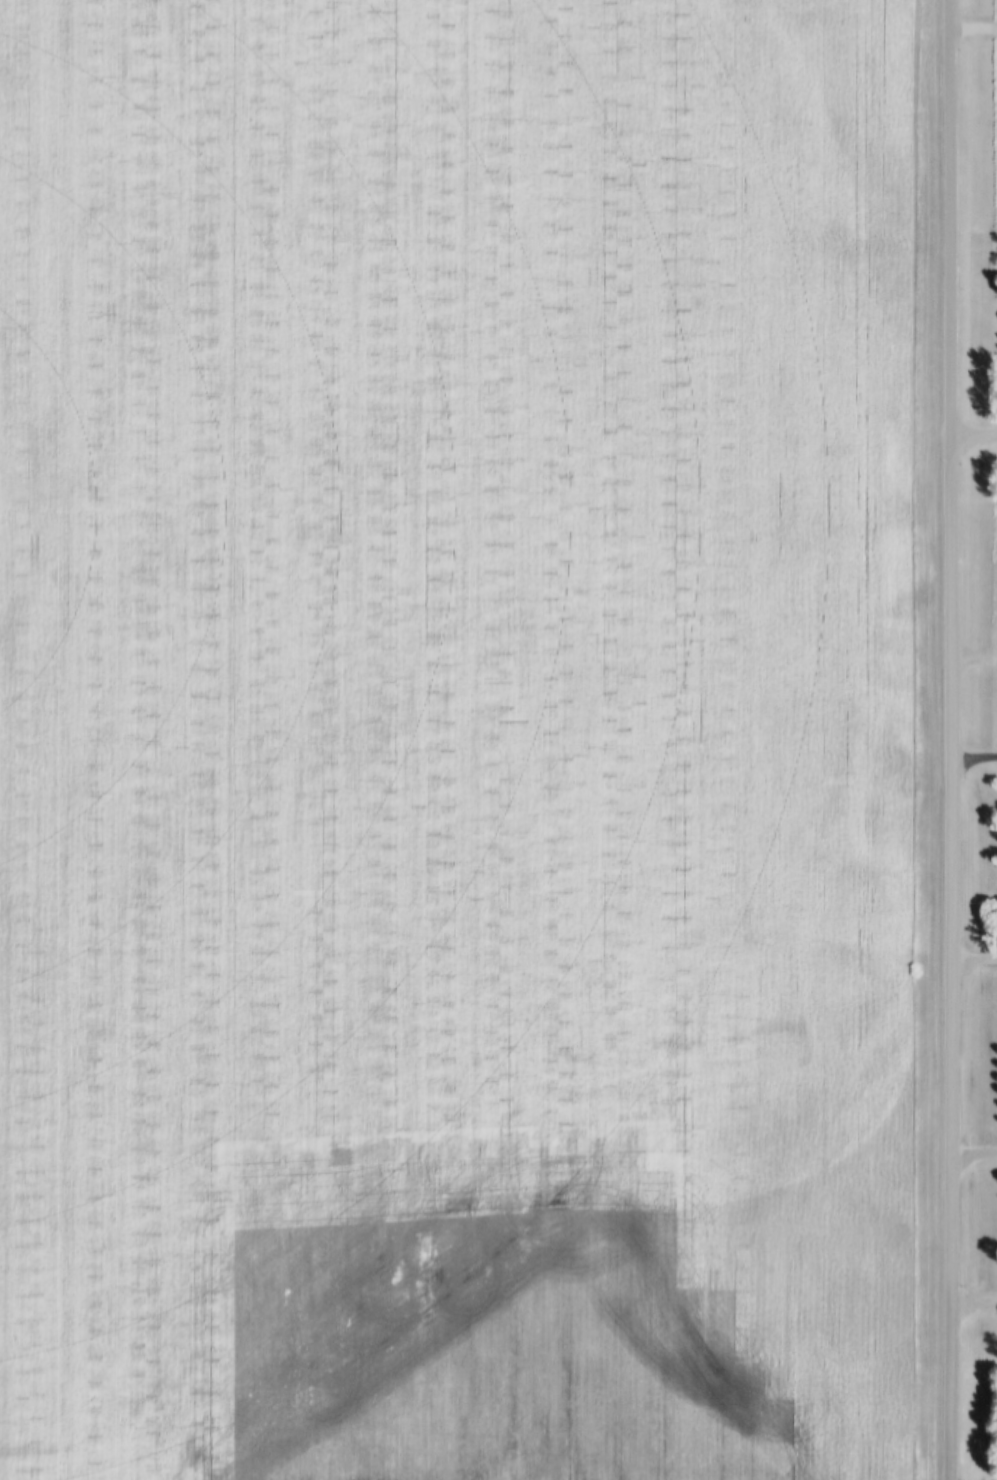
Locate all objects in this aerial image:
road: (976, 27)
road: (977, 433)
road: (976, 658)
road: (957, 740)
road: (977, 757)
road: (977, 955)
road: (976, 1150)
road: (977, 1302)

